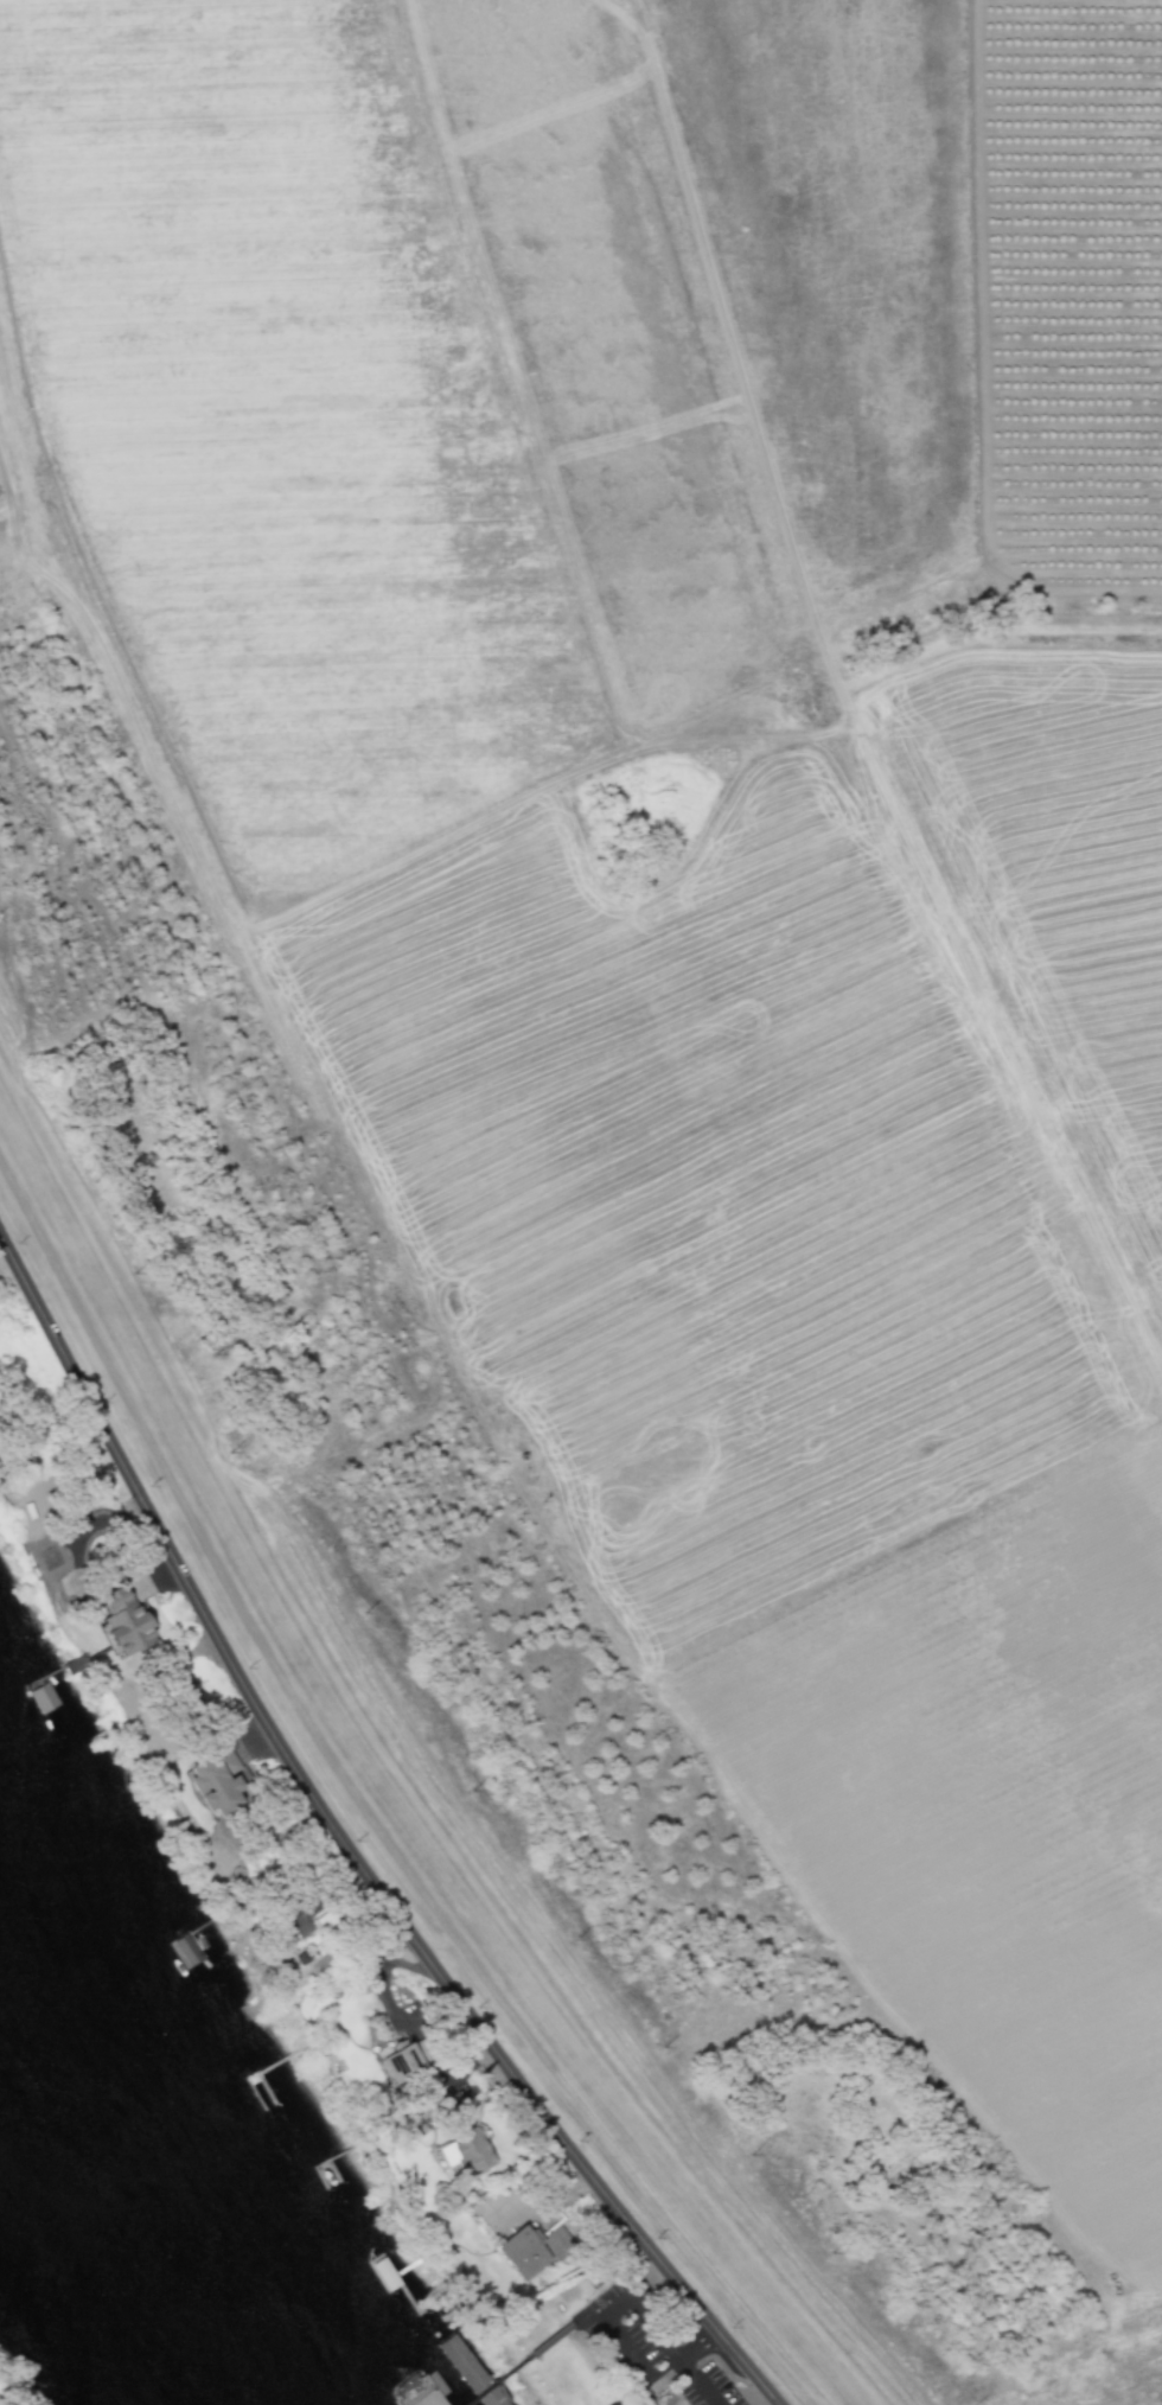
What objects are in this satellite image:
building: (39, 1699)
building: (215, 1778)
road: (347, 1846)
building: (300, 1915)
building: (407, 2059)
building: (467, 2154)
river: (143, 2181)
building: (522, 2252)
road: (604, 2317)
road: (679, 2361)
building: (462, 2363)

